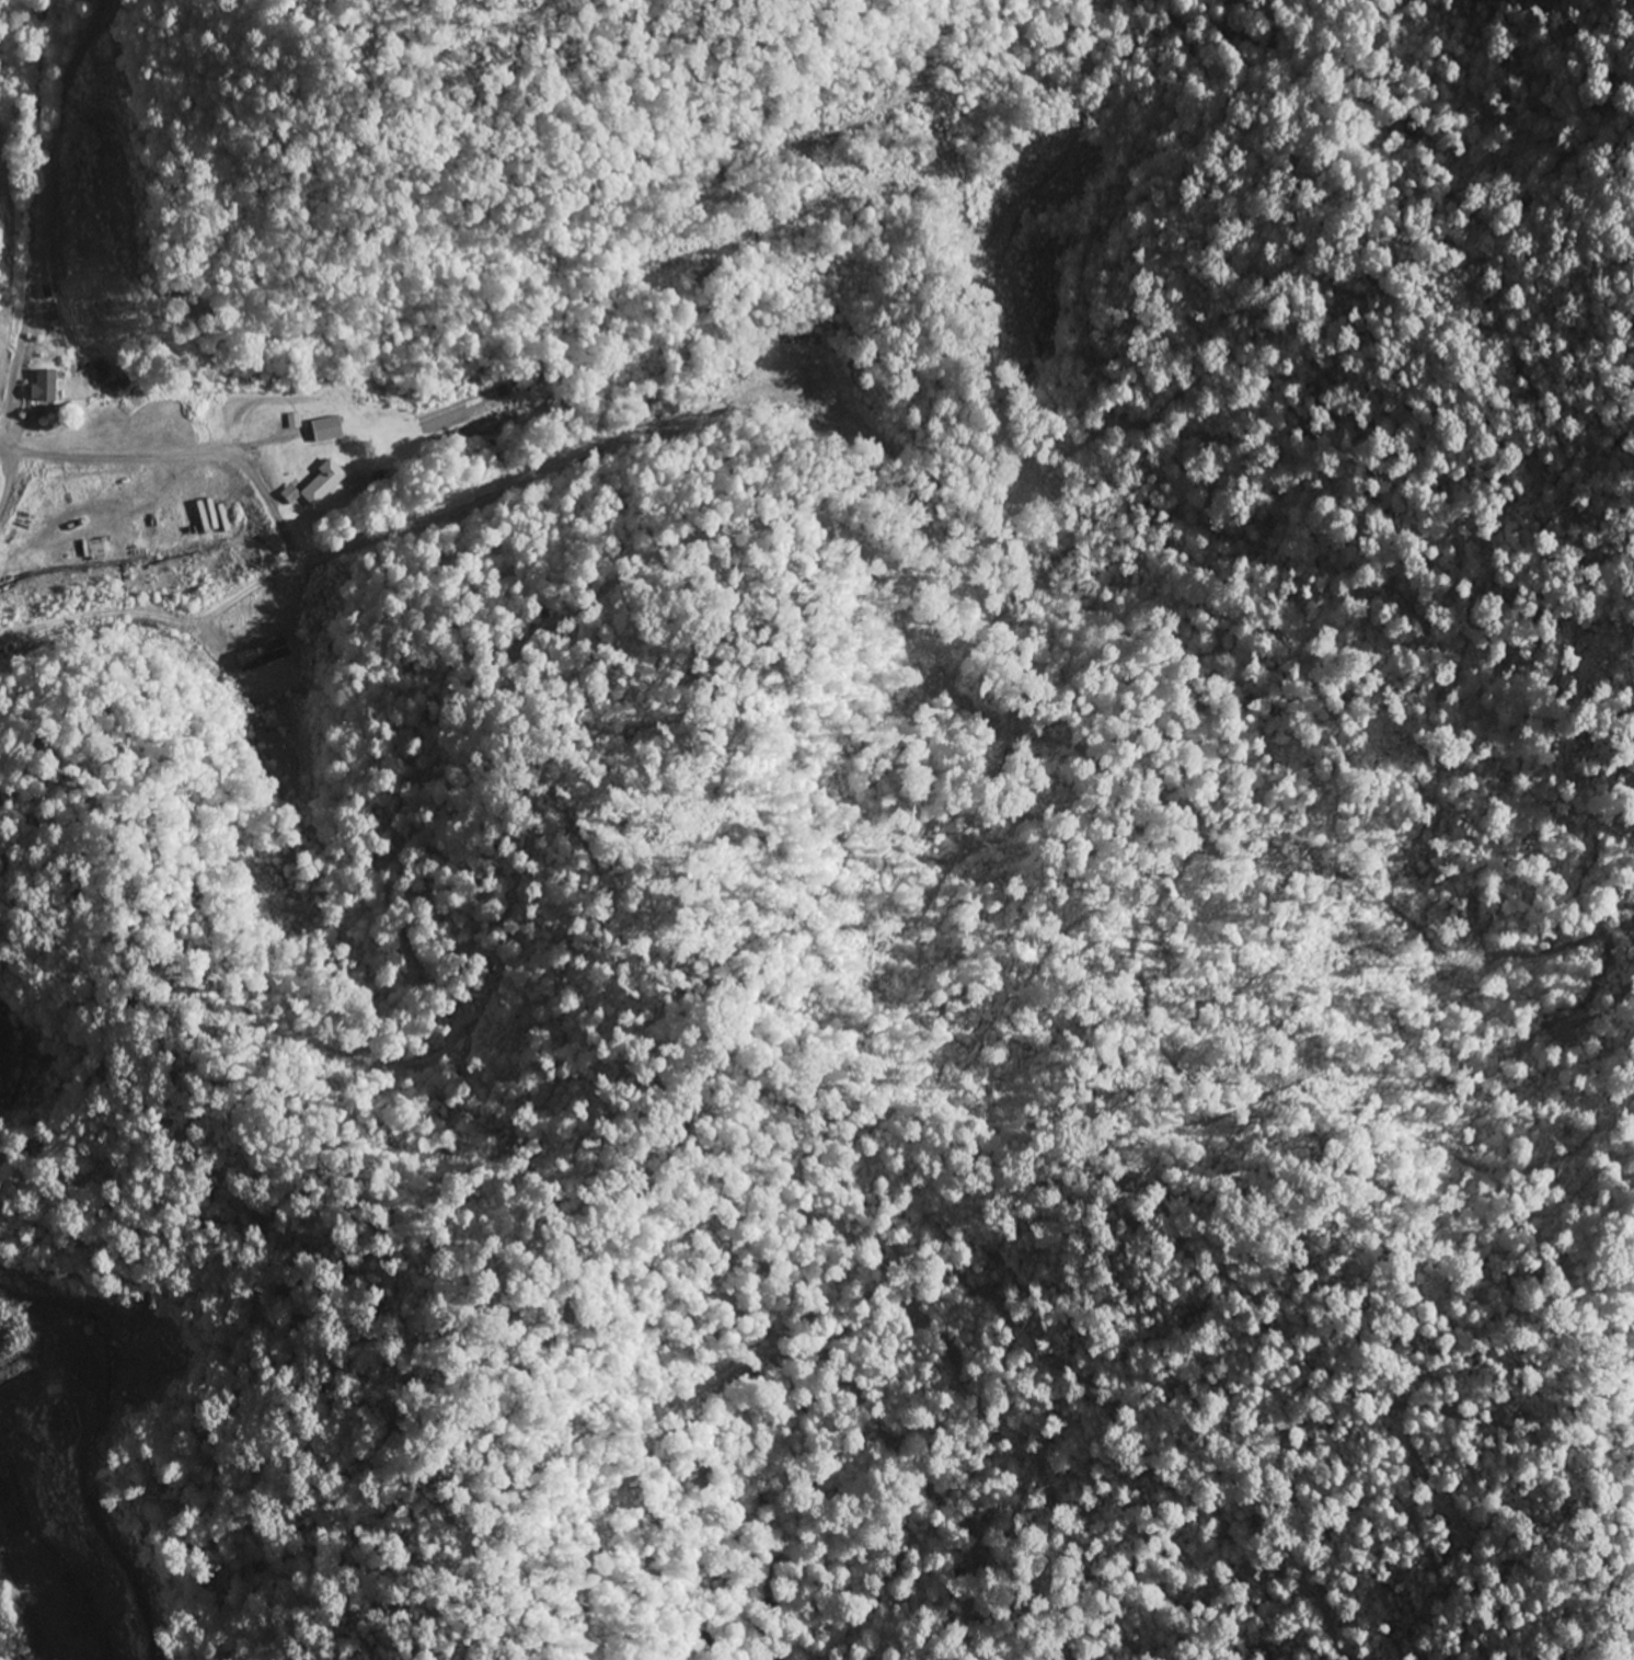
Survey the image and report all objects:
building: (105, 374)
building: (44, 385)
building: (510, 389)
building: (325, 430)
road: (176, 434)
building: (321, 484)
building: (97, 548)

